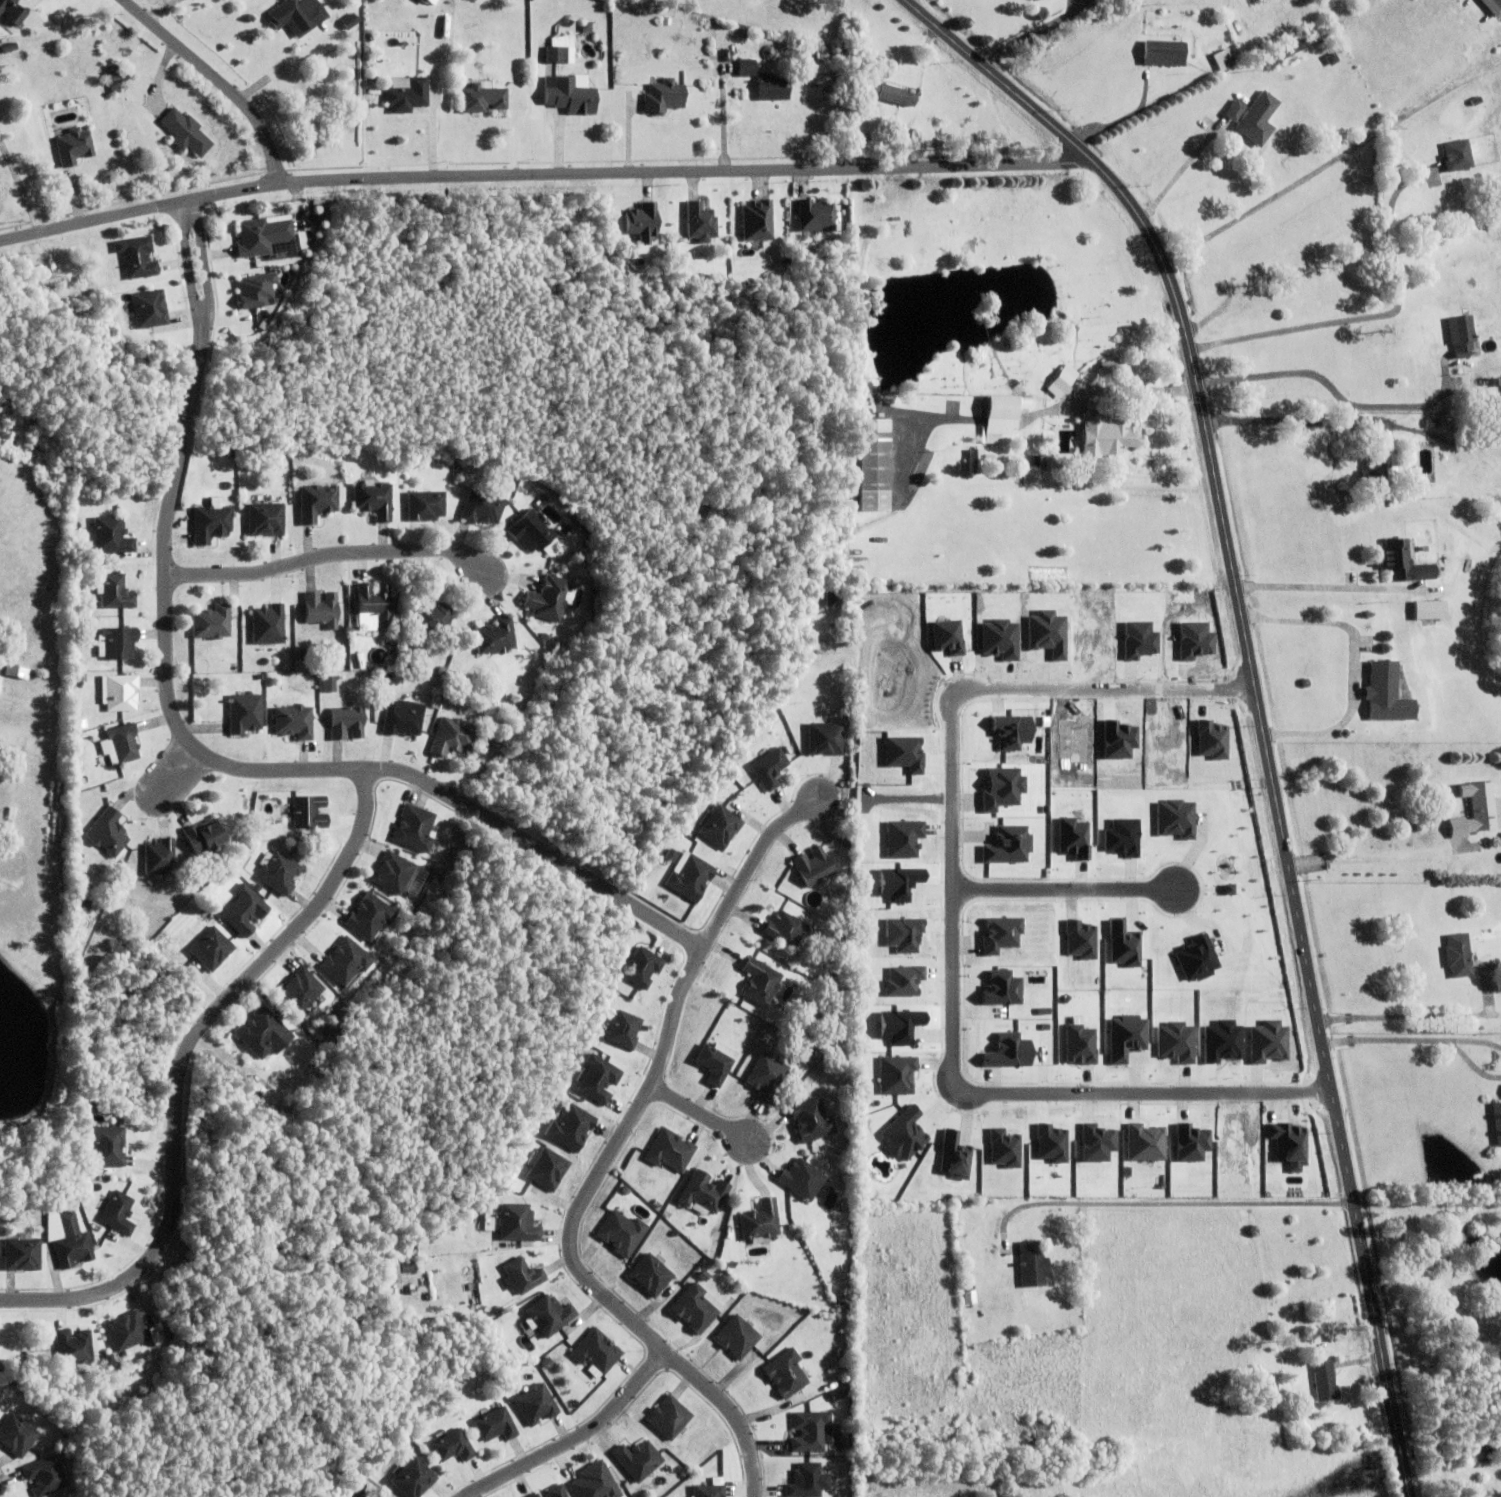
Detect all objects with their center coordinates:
building: (427, 1)
building: (1493, 7)
building: (12, 11)
building: (297, 16)
building: (349, 21)
building: (666, 21)
building: (582, 26)
building: (744, 33)
building: (1314, 38)
building: (1219, 39)
building: (566, 47)
building: (9, 49)
building: (1285, 52)
building: (1165, 54)
building: (726, 56)
building: (825, 56)
building: (558, 57)
building: (1331, 59)
building: (1224, 60)
building: (825, 63)
building: (874, 63)
building: (746, 68)
building: (825, 69)
road: (219, 80)
building: (114, 83)
building: (771, 86)
building: (893, 95)
building: (408, 96)
building: (569, 96)
building: (664, 97)
building: (482, 99)
building: (1235, 112)
building: (1258, 120)
building: (185, 133)
building: (74, 147)
building: (1455, 154)
road: (1332, 159)
road: (545, 172)
road: (1178, 172)
building: (1392, 174)
road: (20, 188)
building: (1242, 195)
building: (815, 217)
building: (642, 220)
building: (607, 221)
building: (757, 221)
building: (700, 223)
building: (252, 239)
building: (137, 258)
building: (256, 291)
building: (149, 309)
road: (1375, 315)
building: (1460, 336)
building: (1106, 365)
building: (1063, 382)
building: (1496, 383)
road: (1336, 393)
building: (1002, 420)
road: (1292, 422)
building: (1410, 422)
building: (1432, 424)
building: (1107, 437)
building: (1493, 447)
building: (286, 459)
building: (980, 462)
building: (1058, 462)
building: (1035, 464)
building: (873, 466)
building: (458, 470)
building: (1377, 476)
building: (373, 500)
building: (539, 502)
building: (317, 504)
building: (426, 507)
building: (481, 508)
building: (266, 521)
building: (211, 525)
building: (530, 533)
building: (111, 537)
building: (585, 545)
road: (326, 557)
building: (1400, 564)
road: (1327, 592)
building: (115, 593)
building: (550, 597)
building: (832, 599)
building: (372, 607)
building: (321, 611)
building: (235, 612)
building: (1428, 612)
building: (87, 613)
building: (432, 619)
building: (212, 624)
building: (268, 626)
building: (394, 632)
building: (495, 638)
building: (117, 645)
road: (164, 651)
building: (79, 655)
building: (306, 655)
building: (457, 664)
road: (1352, 668)
building: (442, 672)
building: (17, 673)
building: (451, 675)
building: (76, 678)
building: (329, 686)
building: (431, 687)
building: (120, 695)
building: (1386, 695)
road: (1257, 696)
building: (428, 700)
building: (245, 715)
building: (403, 720)
building: (347, 722)
building: (294, 723)
building: (451, 739)
building: (825, 740)
building: (122, 745)
building: (769, 770)
road: (173, 775)
building: (82, 782)
building: (309, 813)
building: (1478, 813)
building: (720, 829)
building: (413, 831)
building: (108, 835)
building: (1119, 836)
building: (203, 842)
building: (844, 843)
building: (670, 856)
building: (1500, 856)
building: (160, 859)
building: (240, 859)
building: (813, 869)
building: (278, 874)
building: (230, 875)
building: (392, 876)
building: (207, 878)
building: (690, 880)
road: (610, 895)
road: (1062, 895)
building: (244, 913)
building: (368, 919)
building: (785, 932)
road: (952, 938)
building: (211, 951)
building: (1459, 957)
building: (1194, 958)
building: (345, 964)
building: (642, 970)
building: (760, 984)
building: (999, 988)
building: (300, 992)
road: (1423, 1015)
building: (895, 1025)
building: (623, 1032)
building: (264, 1037)
road: (1386, 1038)
road: (1475, 1039)
building: (1219, 1040)
building: (1005, 1051)
road: (1471, 1064)
road: (179, 1067)
building: (714, 1067)
building: (765, 1079)
building: (597, 1082)
building: (260, 1090)
road: (699, 1116)
building: (810, 1122)
building: (1497, 1124)
building: (571, 1130)
building: (899, 1133)
building: (1142, 1142)
building: (1048, 1143)
building: (106, 1148)
building: (1000, 1148)
building: (670, 1153)
road: (608, 1157)
building: (548, 1173)
building: (94, 1176)
building: (801, 1182)
building: (704, 1195)
road: (1162, 1201)
building: (659, 1204)
building: (117, 1215)
building: (760, 1223)
building: (517, 1226)
building: (622, 1231)
building: (728, 1236)
building: (70, 1245)
building: (21, 1257)
building: (1032, 1268)
building: (392, 1270)
building: (407, 1270)
building: (650, 1273)
building: (522, 1278)
building: (843, 1303)
building: (694, 1307)
building: (549, 1318)
building: (398, 1329)
building: (125, 1330)
building: (151, 1333)
building: (736, 1335)
building: (73, 1345)
building: (596, 1354)
building: (108, 1358)
building: (785, 1371)
building: (1325, 1383)
building: (1269, 1389)
building: (838, 1393)
building: (535, 1402)
building: (669, 1416)
building: (494, 1423)
building: (810, 1430)
building: (1040, 1433)
building: (16, 1434)
road: (575, 1439)
building: (451, 1444)
building: (639, 1458)
building: (44, 1473)
building: (413, 1477)
building: (804, 1479)
building: (595, 1481)
building: (555, 1490)
building: (708, 1490)
building: (532, 1495)
building: (376, 1496)
building: (381, 1496)

